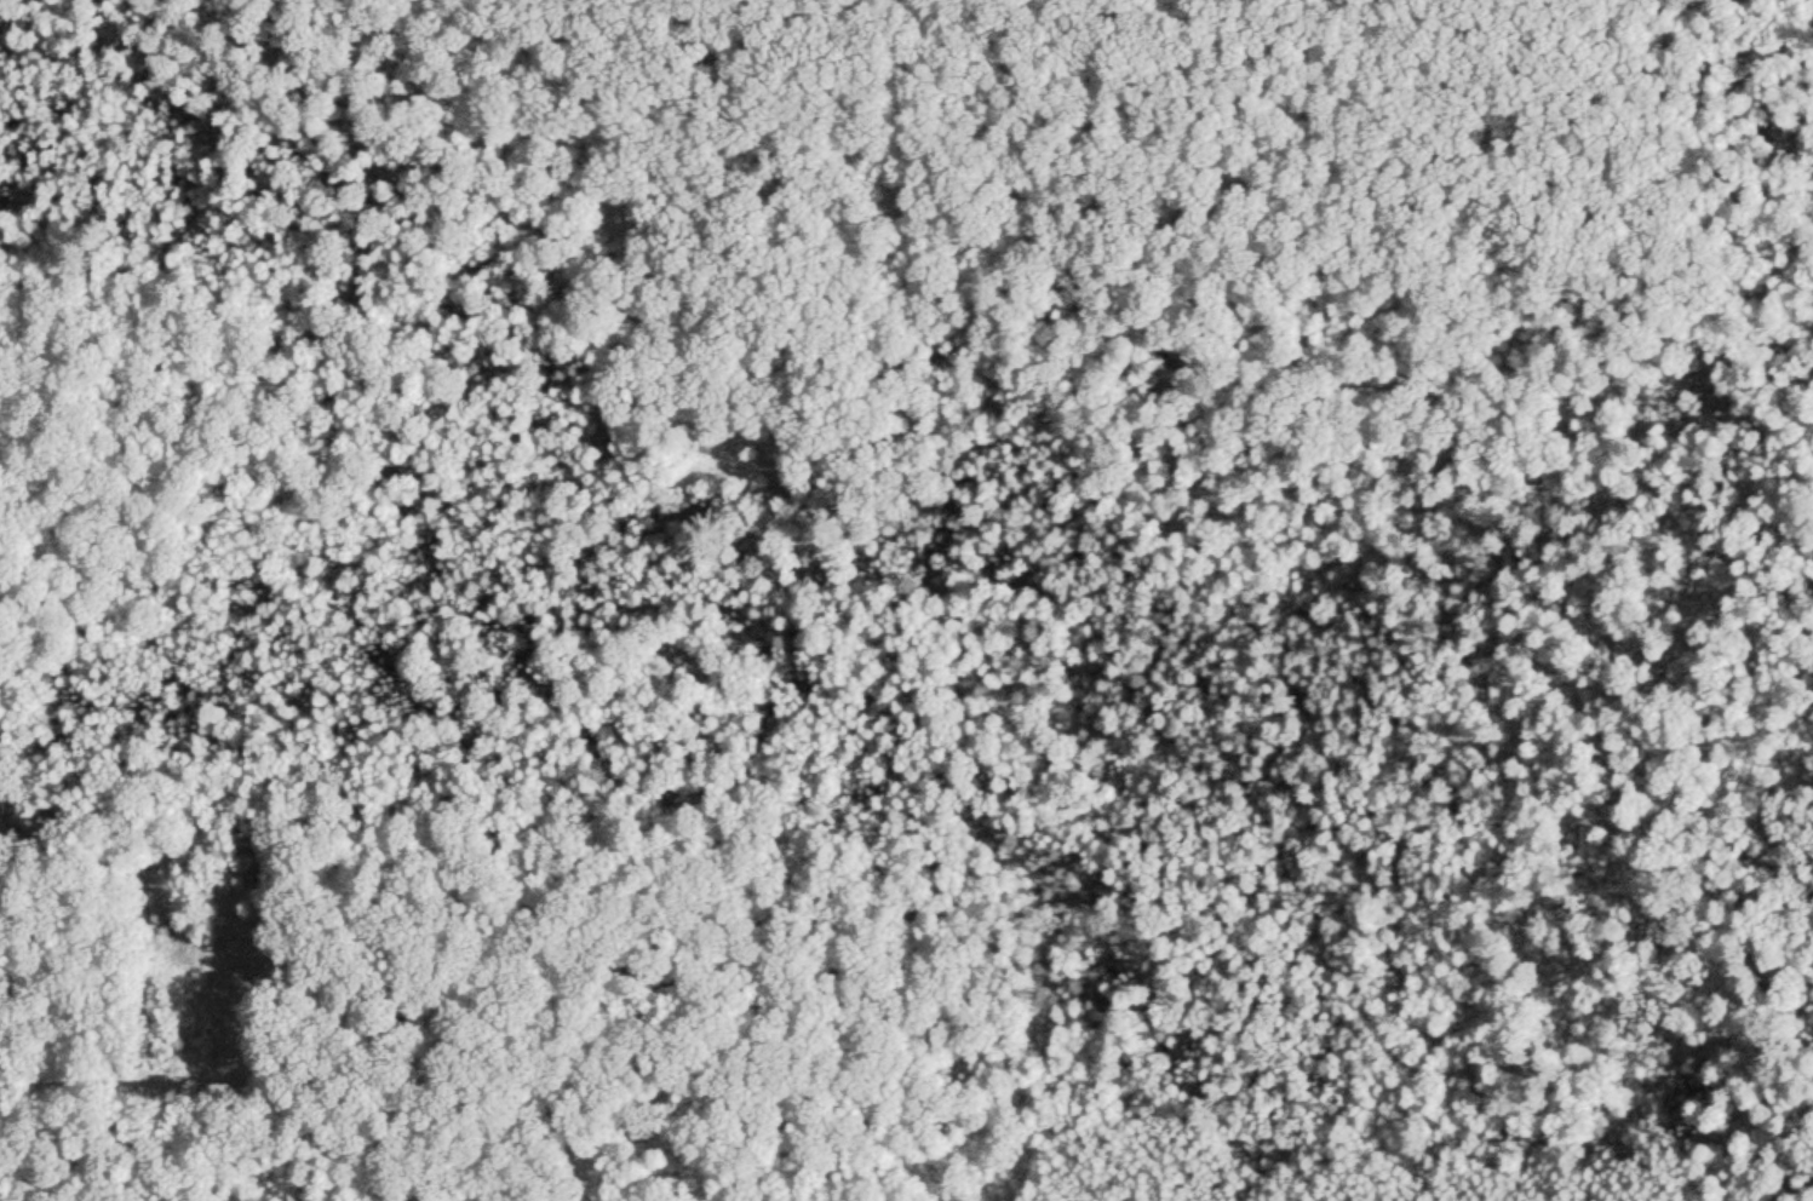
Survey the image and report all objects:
park: (905, 565)
park: (906, 600)

